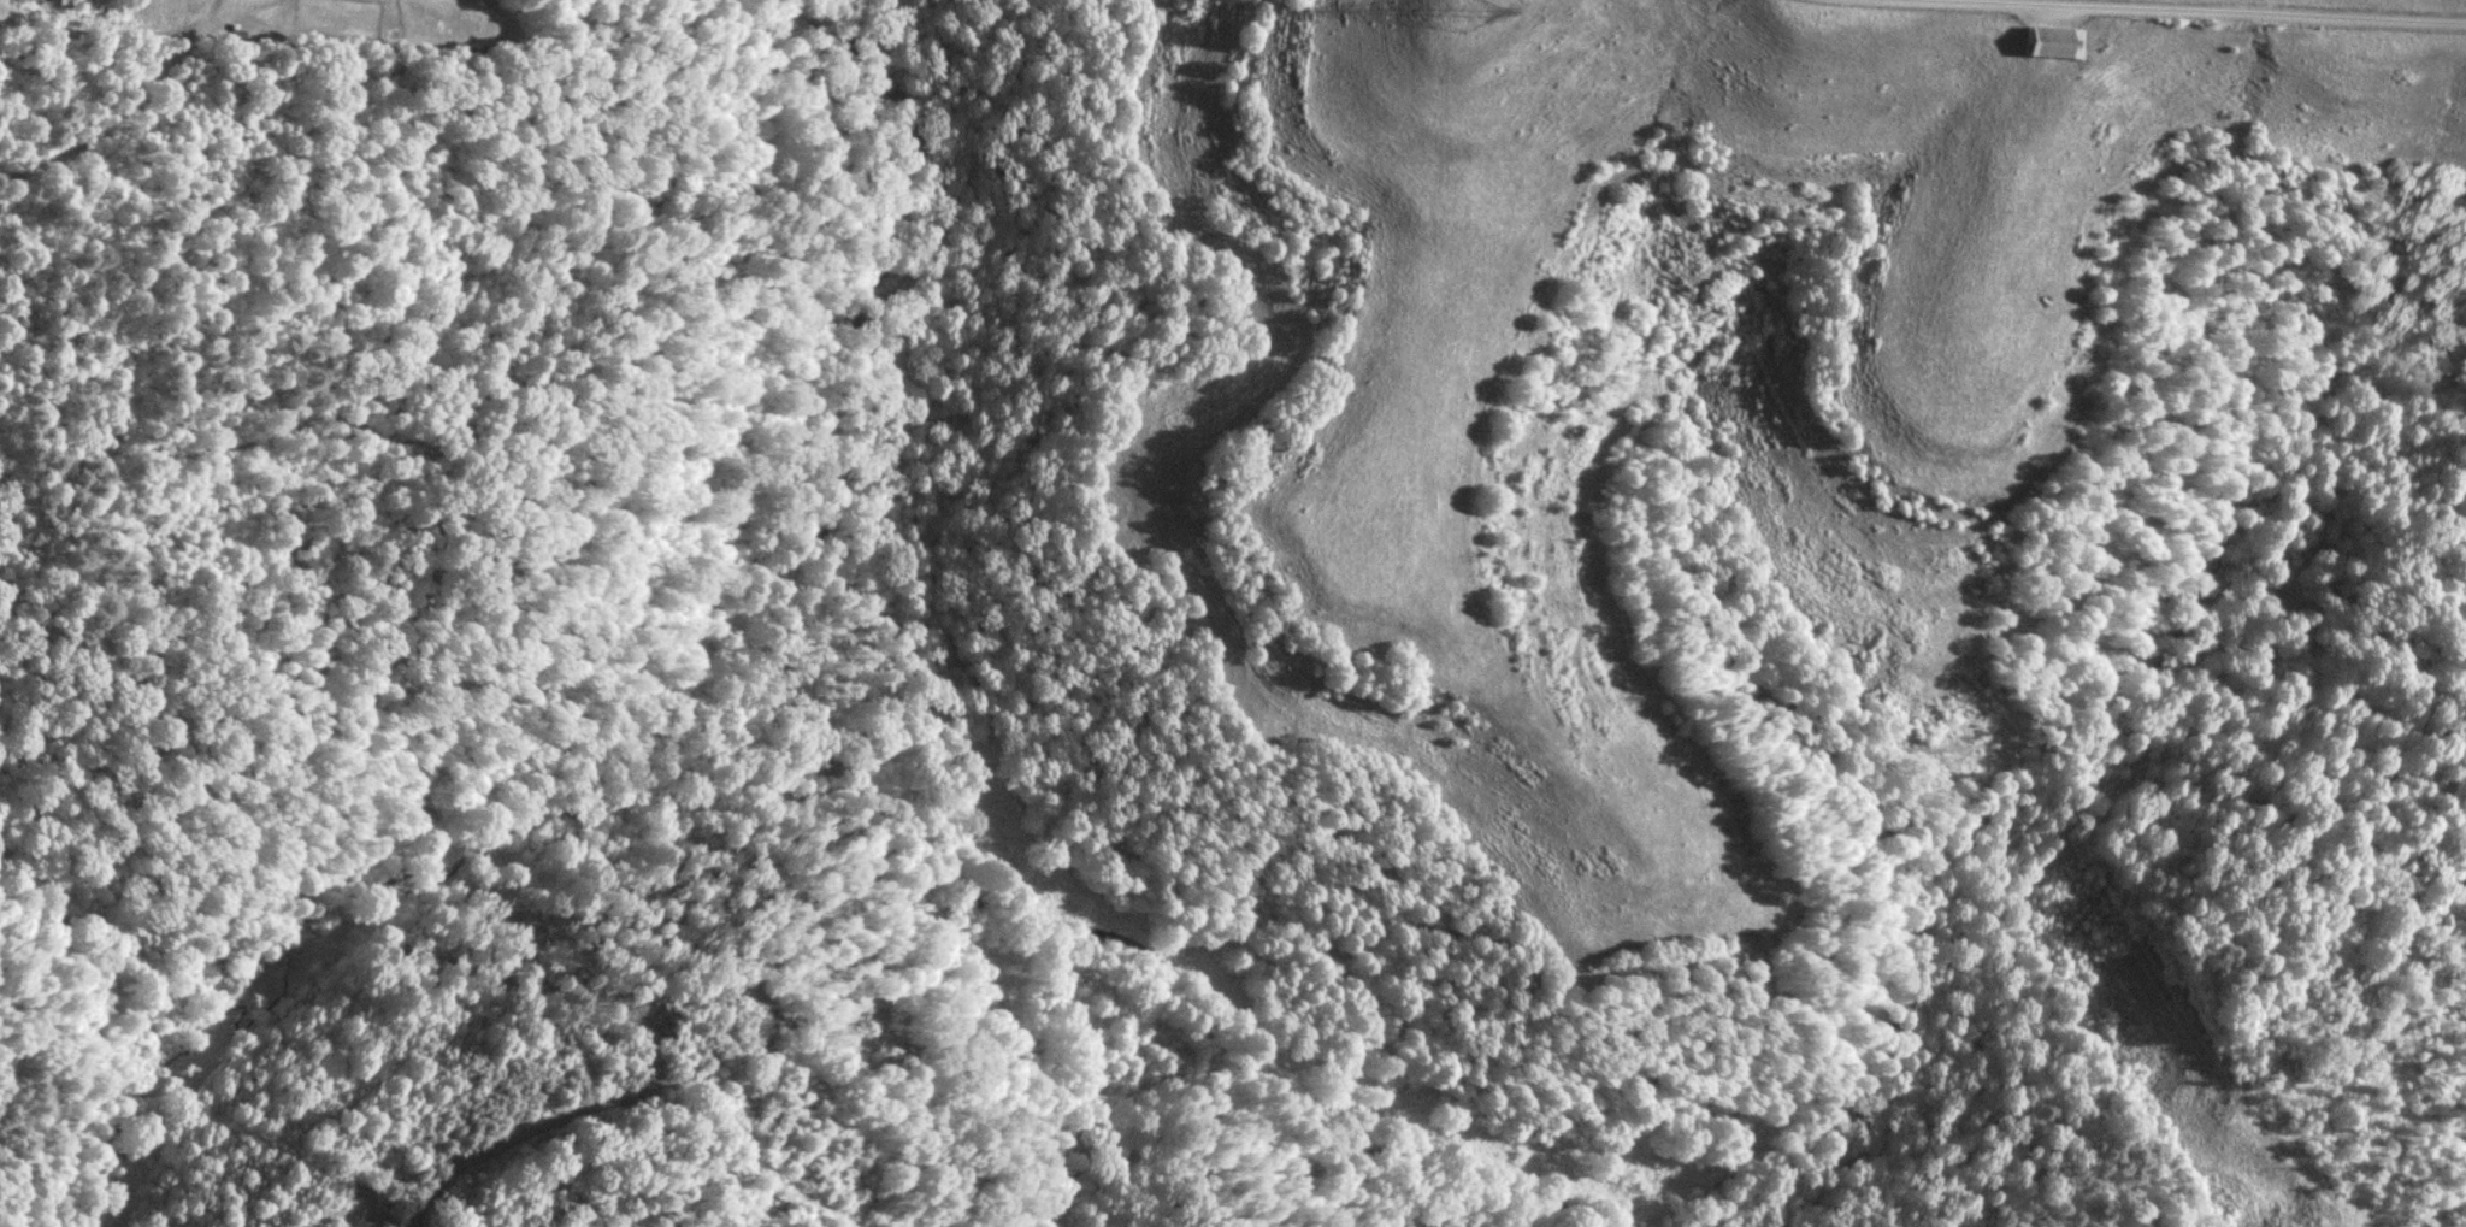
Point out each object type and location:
road: (2234, 12)
building: (2057, 41)

